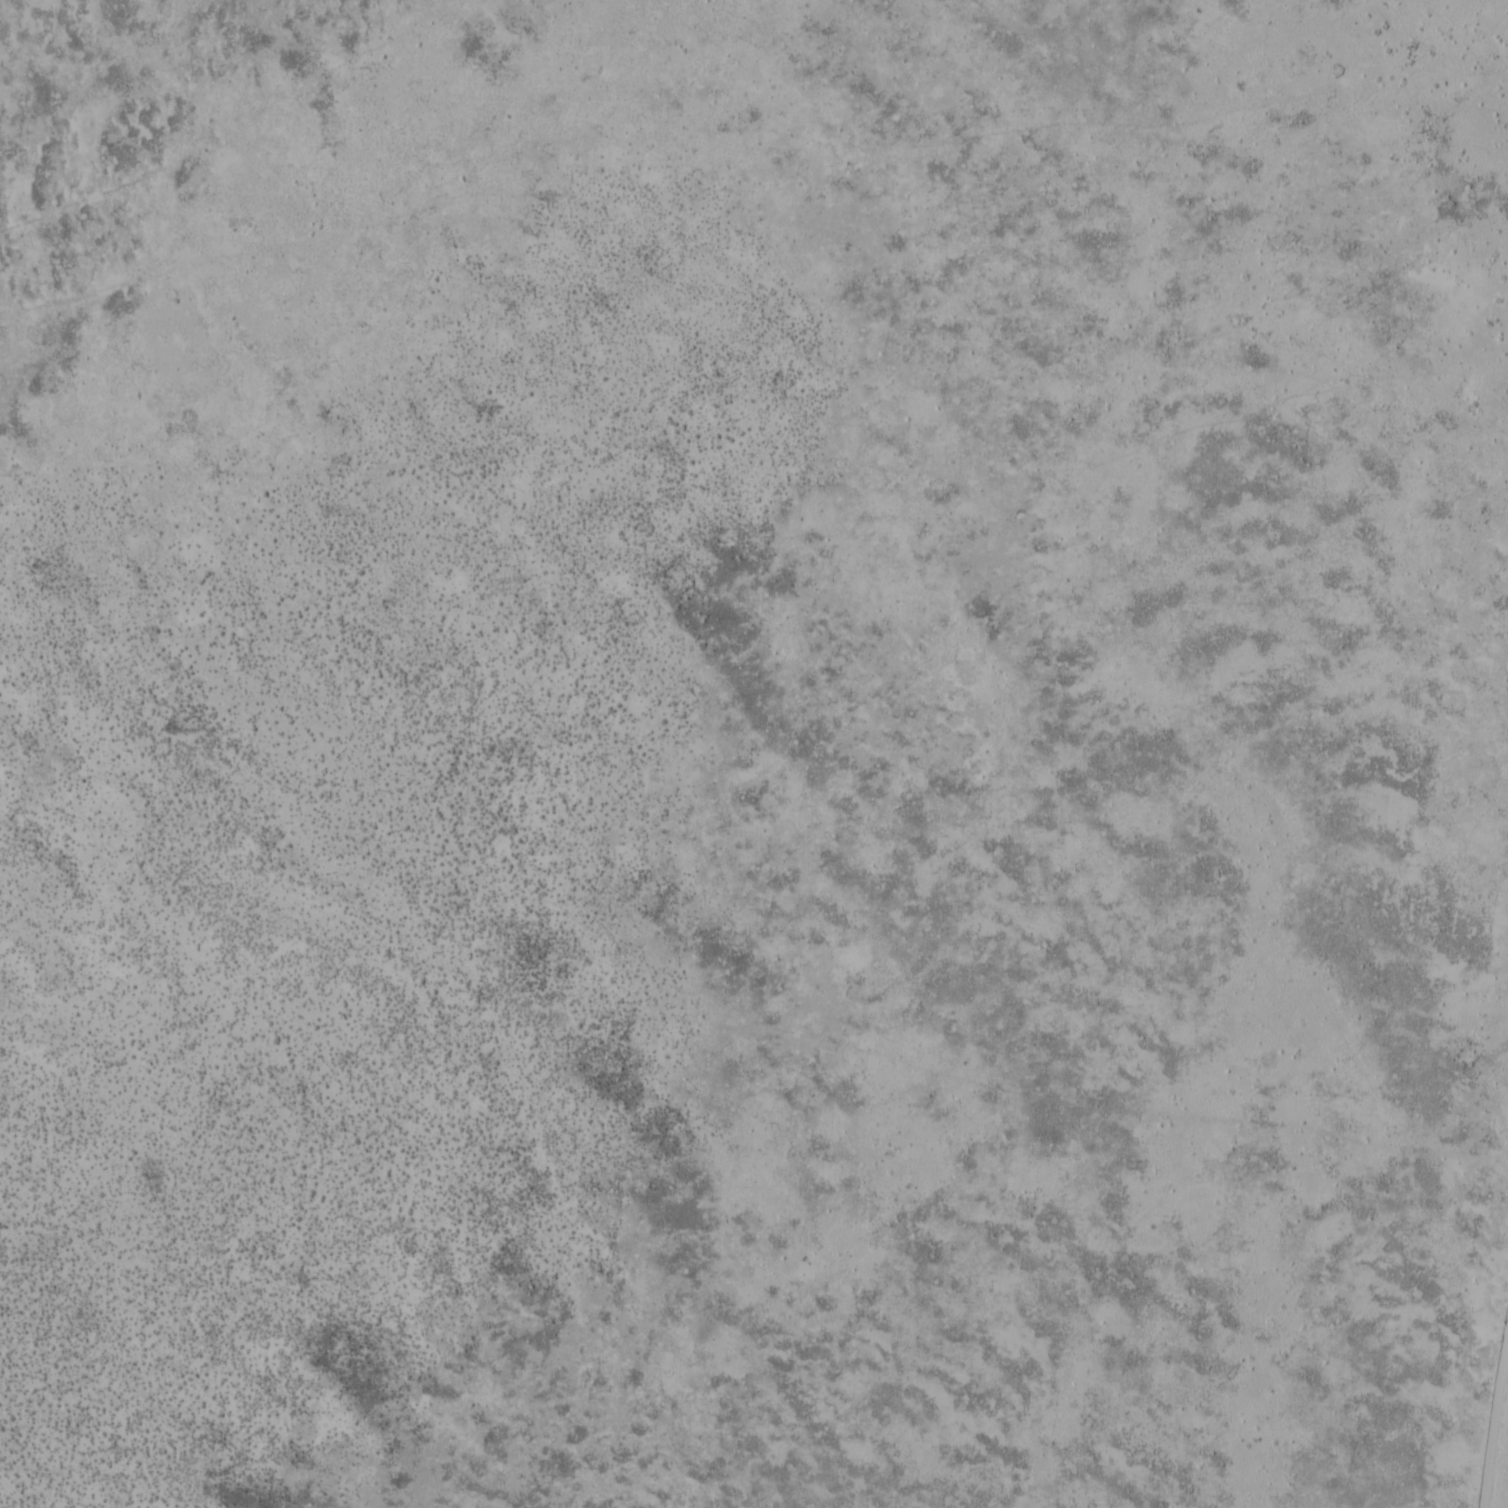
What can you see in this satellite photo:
road: (1474, 1272)

